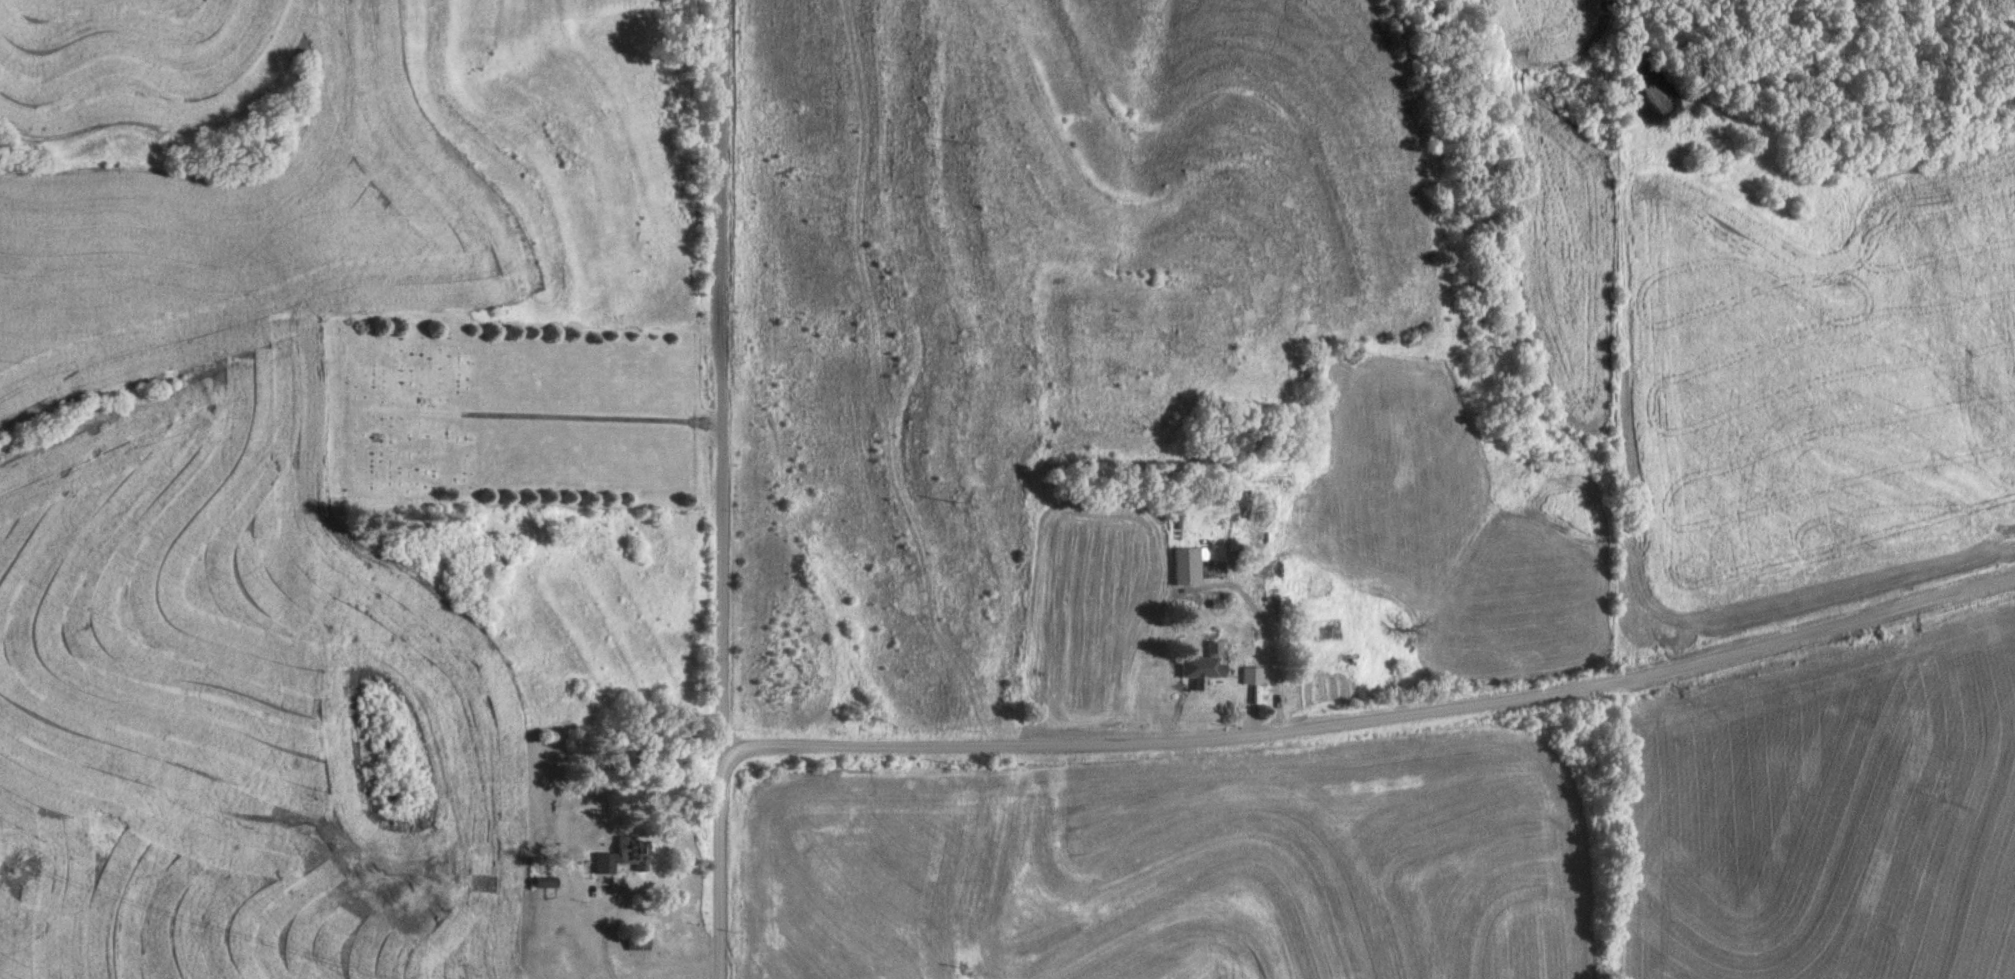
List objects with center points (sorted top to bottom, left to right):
park: (521, 411)
road: (721, 492)
building: (1376, 603)
building: (1212, 648)
building: (1252, 674)
road: (1384, 725)
building: (611, 860)

